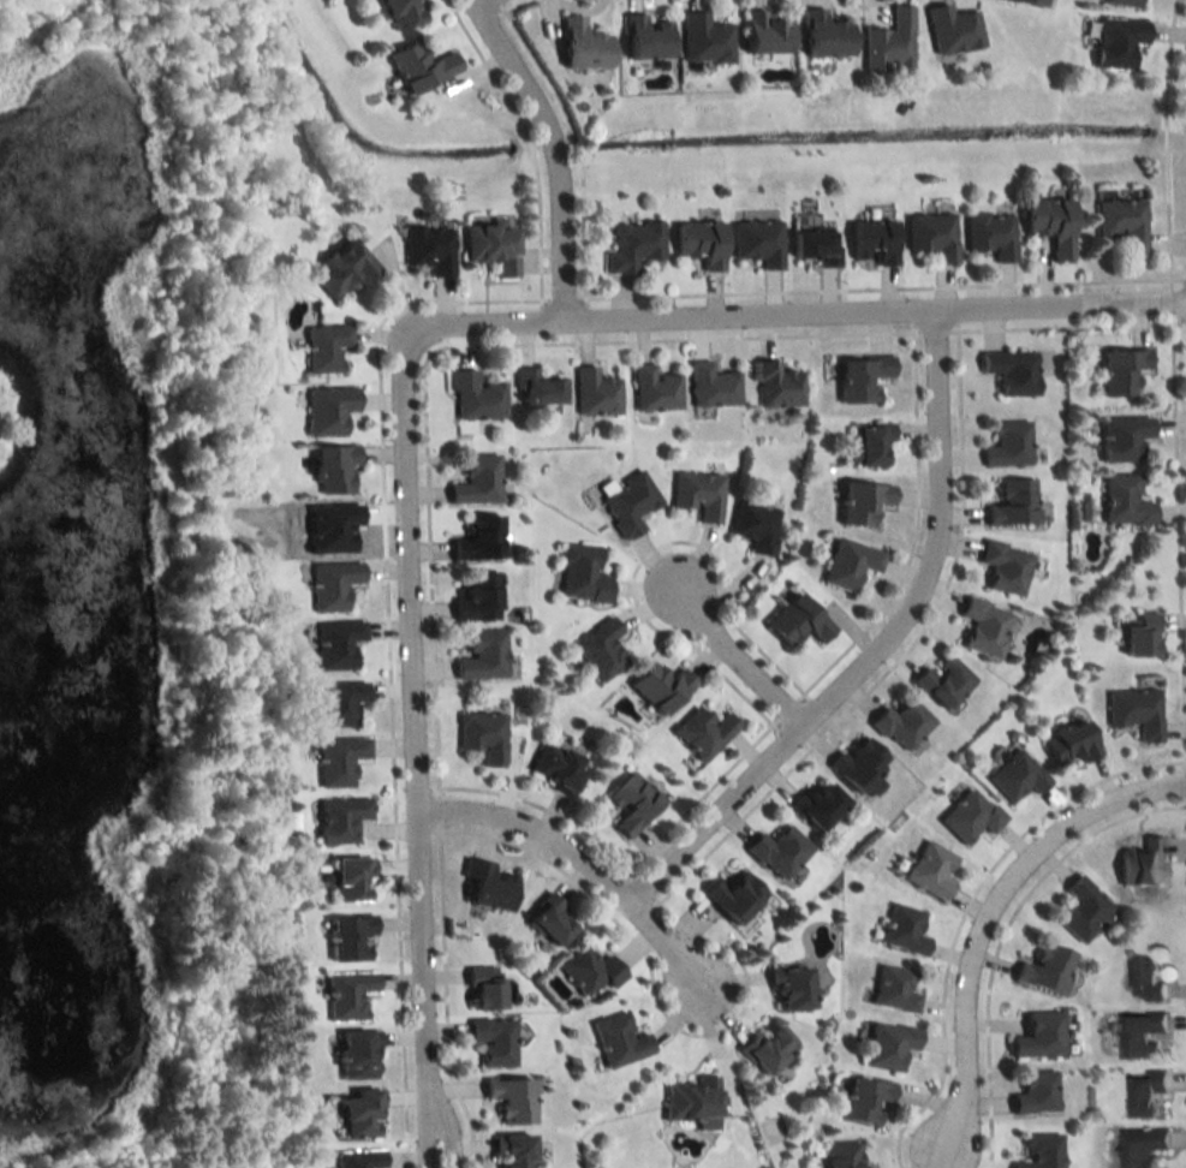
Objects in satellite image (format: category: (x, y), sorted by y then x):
road: (495, 1)
building: (1020, 2)
building: (1118, 2)
road: (509, 6)
building: (395, 13)
building: (948, 30)
building: (759, 32)
building: (821, 35)
building: (640, 38)
building: (701, 40)
building: (1114, 42)
building: (886, 43)
building: (578, 46)
road: (535, 65)
building: (415, 67)
road: (485, 67)
road: (571, 142)
road: (1162, 143)
road: (526, 147)
road: (546, 150)
building: (1045, 225)
building: (1119, 225)
road: (580, 227)
road: (536, 231)
building: (988, 234)
building: (929, 236)
building: (755, 242)
building: (869, 242)
building: (696, 244)
building: (630, 245)
building: (811, 246)
building: (488, 248)
building: (427, 249)
building: (338, 270)
road: (878, 287)
road: (560, 296)
road: (1172, 300)
road: (807, 312)
road: (1175, 317)
road: (1065, 326)
road: (911, 327)
road: (931, 330)
road: (448, 345)
building: (322, 348)
building: (1008, 371)
building: (1116, 371)
building: (856, 379)
building: (709, 387)
building: (773, 387)
building: (534, 389)
building: (651, 391)
building: (592, 394)
building: (473, 397)
building: (326, 411)
building: (1119, 439)
building: (866, 445)
building: (1006, 446)
building: (332, 471)
building: (475, 482)
building: (695, 495)
building: (1121, 501)
building: (858, 503)
building: (625, 505)
building: (1008, 505)
building: (752, 526)
road: (911, 535)
building: (476, 540)
road: (1175, 542)
road: (645, 552)
building: (845, 565)
building: (1002, 566)
road: (703, 572)
building: (578, 574)
building: (335, 584)
building: (473, 598)
building: (791, 621)
building: (981, 627)
building: (1136, 637)
building: (340, 643)
road: (875, 646)
building: (596, 650)
road: (386, 654)
road: (896, 655)
building: (479, 656)
road: (751, 672)
building: (938, 681)
building: (656, 687)
building: (341, 702)
road: (785, 707)
building: (1133, 713)
building: (899, 725)
road: (412, 733)
building: (699, 733)
building: (479, 738)
building: (1066, 744)
building: (341, 761)
building: (853, 764)
building: (552, 769)
building: (1013, 776)
road: (697, 794)
building: (627, 804)
building: (813, 805)
road: (541, 806)
road: (436, 809)
building: (967, 816)
building: (342, 820)
road: (565, 847)
building: (776, 852)
road: (1184, 857)
building: (1140, 864)
building: (926, 870)
building: (356, 877)
road: (642, 886)
building: (483, 887)
road: (995, 893)
building: (729, 896)
road: (962, 906)
building: (1079, 910)
building: (544, 919)
building: (900, 930)
road: (1000, 932)
building: (353, 937)
building: (1041, 970)
building: (586, 971)
road: (650, 979)
building: (1146, 981)
building: (487, 987)
building: (787, 989)
building: (892, 990)
building: (350, 994)
road: (442, 996)
road: (710, 1006)
building: (1036, 1036)
building: (1142, 1036)
building: (495, 1041)
building: (615, 1041)
building: (884, 1045)
building: (763, 1049)
building: (360, 1054)
building: (1032, 1093)
building: (1148, 1095)
building: (513, 1098)
building: (689, 1101)
building: (860, 1102)
building: (364, 1114)
road: (946, 1114)
building: (1142, 1148)
building: (515, 1150)
building: (1038, 1151)
building: (836, 1155)
building: (360, 1158)
road: (430, 1162)

